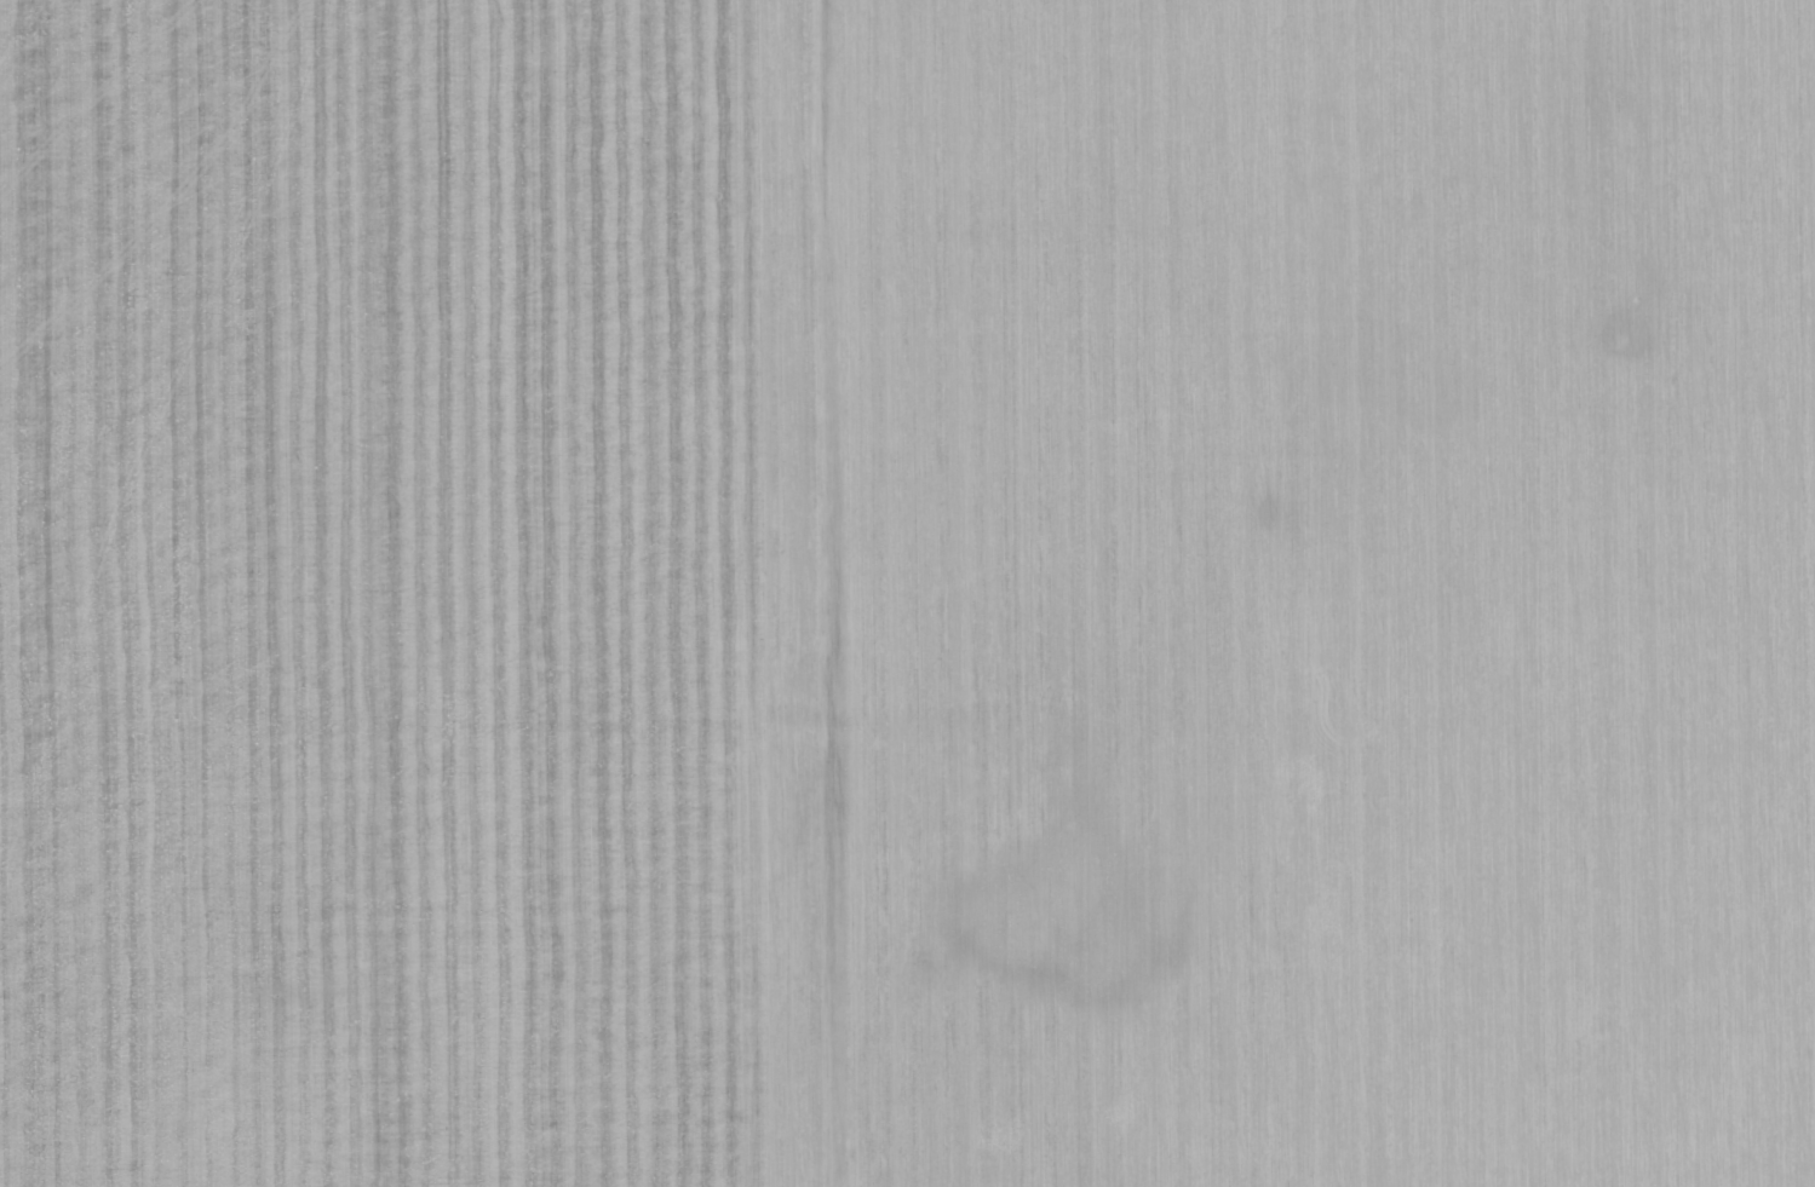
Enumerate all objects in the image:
road: (639, 681)

